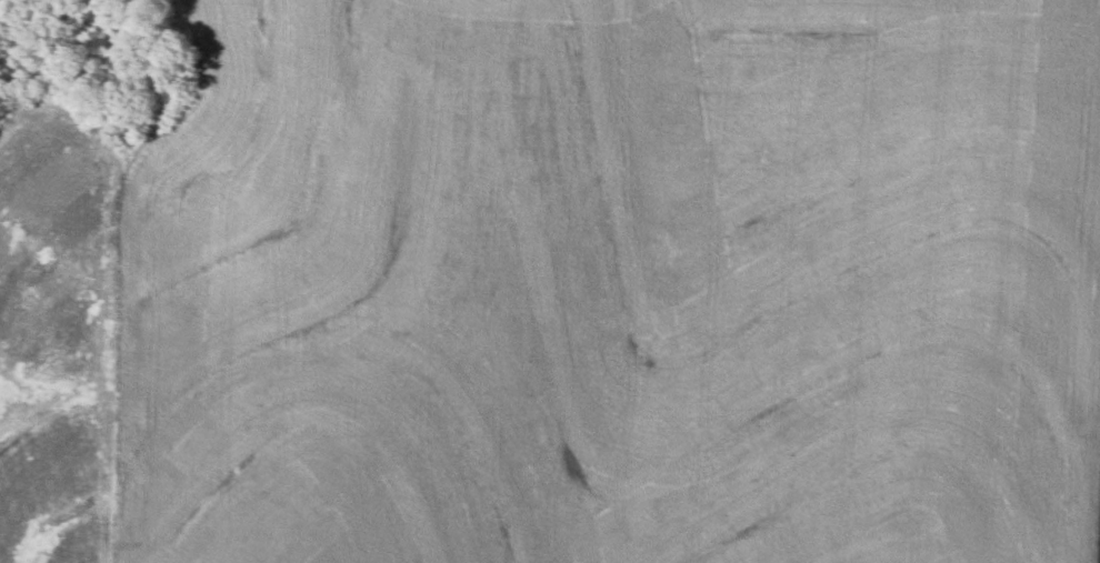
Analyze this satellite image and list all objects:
crop: (616, 284)

